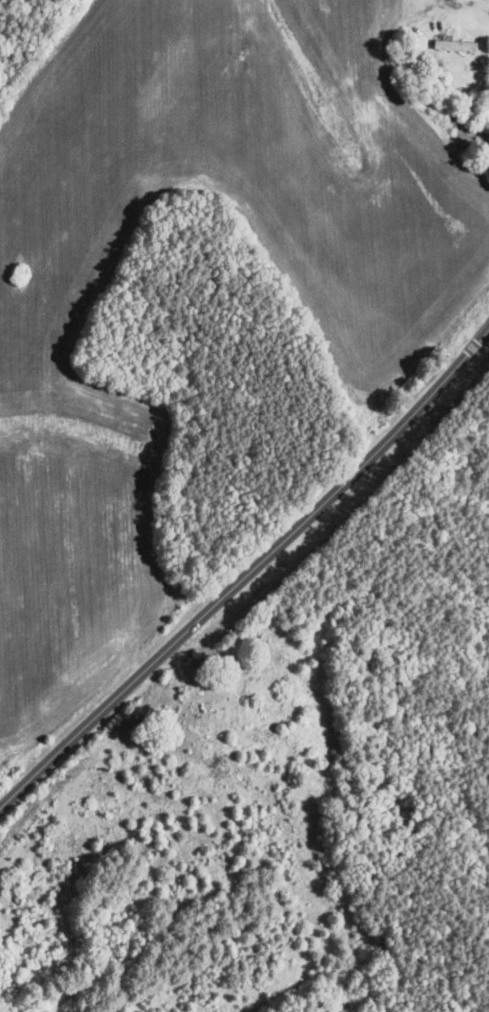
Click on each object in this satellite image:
road: (481, 4)
building: (455, 45)
building: (438, 78)
building: (488, 88)
road: (250, 574)
building: (0, 993)
building: (1, 1001)

